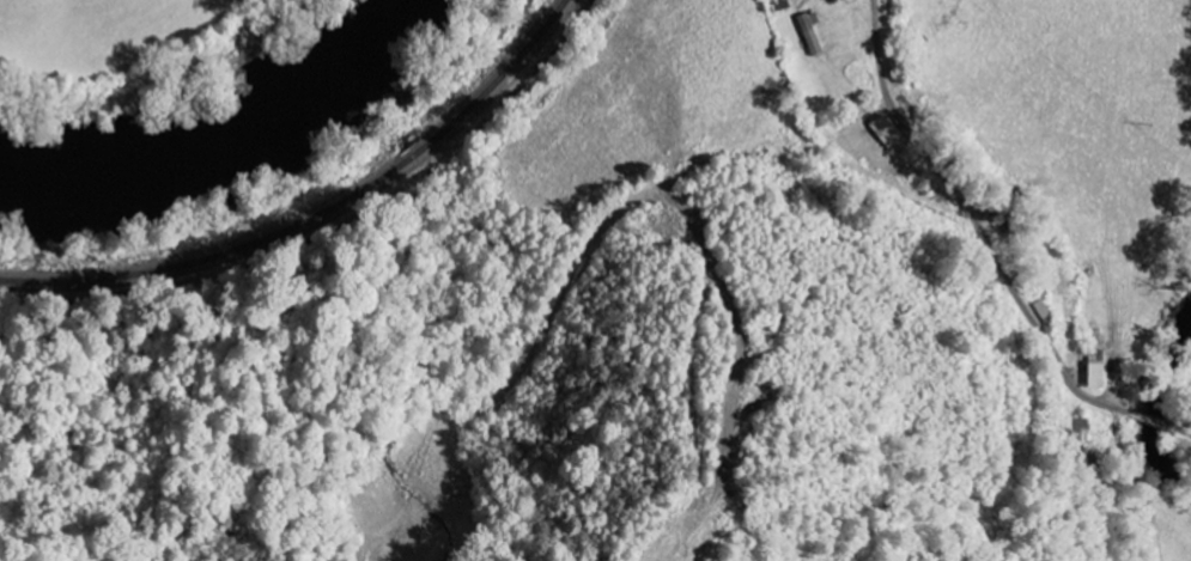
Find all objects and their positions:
building: (812, 32)
river: (160, 84)
building: (887, 130)
railway: (317, 213)
road: (990, 250)
building: (1044, 310)
building: (1096, 374)

